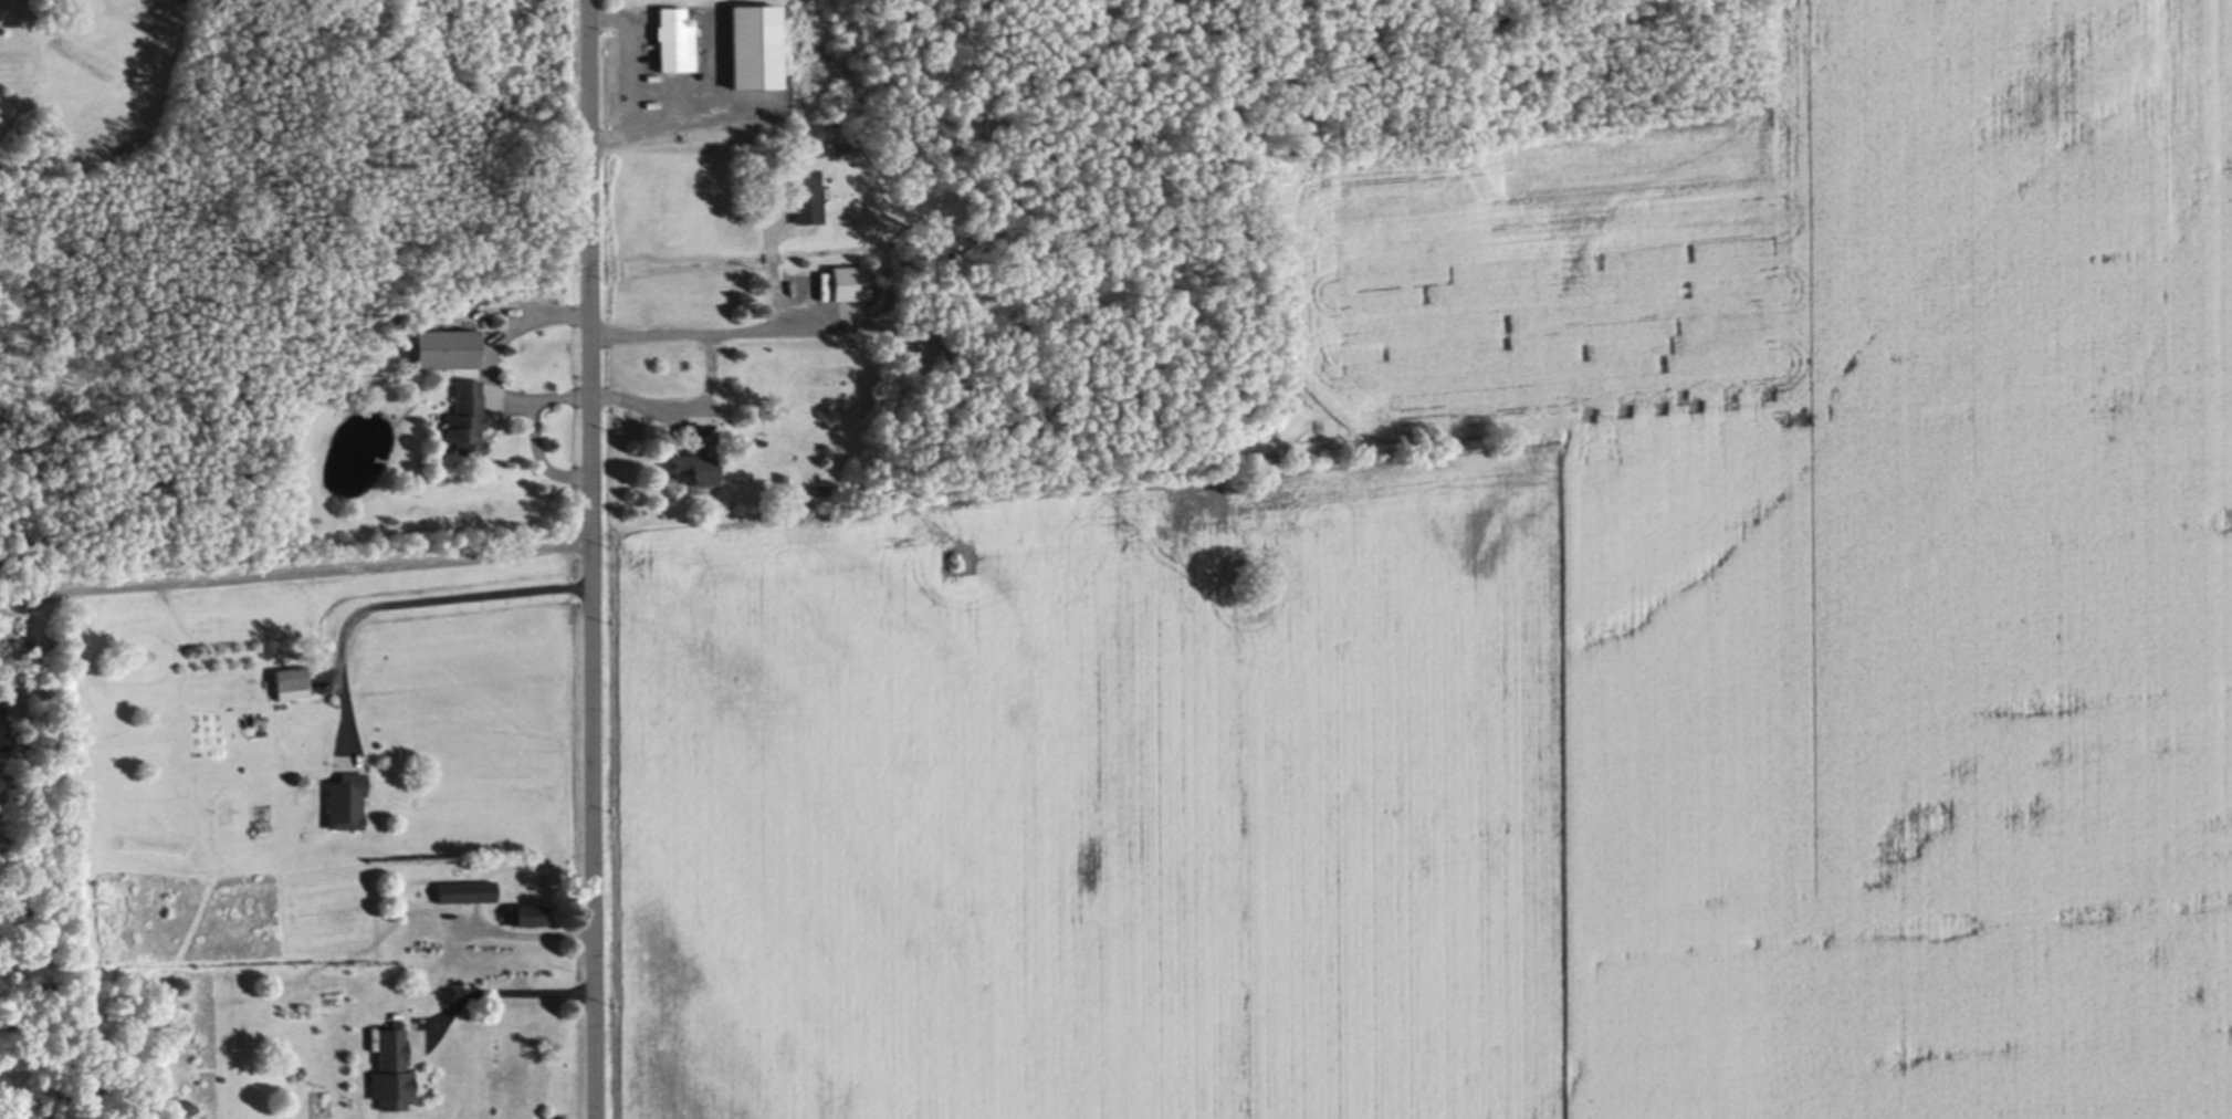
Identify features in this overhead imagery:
building: (674, 39)
building: (756, 44)
road: (630, 55)
building: (656, 79)
road: (670, 121)
building: (806, 195)
building: (825, 276)
building: (849, 282)
building: (394, 311)
road: (766, 318)
building: (401, 322)
building: (914, 326)
building: (934, 343)
building: (447, 348)
road: (711, 367)
building: (467, 417)
building: (696, 459)
building: (822, 489)
road: (590, 558)
road: (282, 578)
road: (407, 602)
crop: (1524, 657)
building: (292, 682)
building: (260, 719)
building: (347, 799)
building: (467, 888)
building: (528, 912)
road: (504, 990)
building: (392, 1070)

